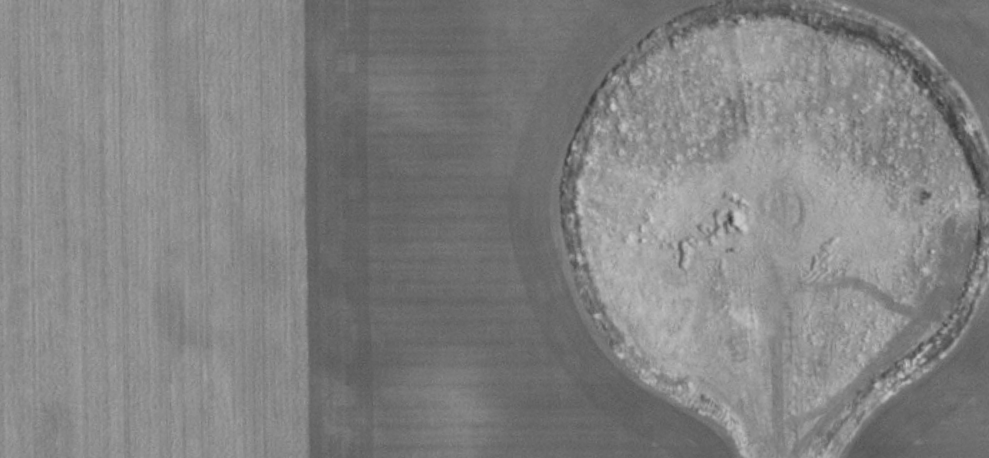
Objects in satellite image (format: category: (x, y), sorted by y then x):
wind turbine: (782, 237)

